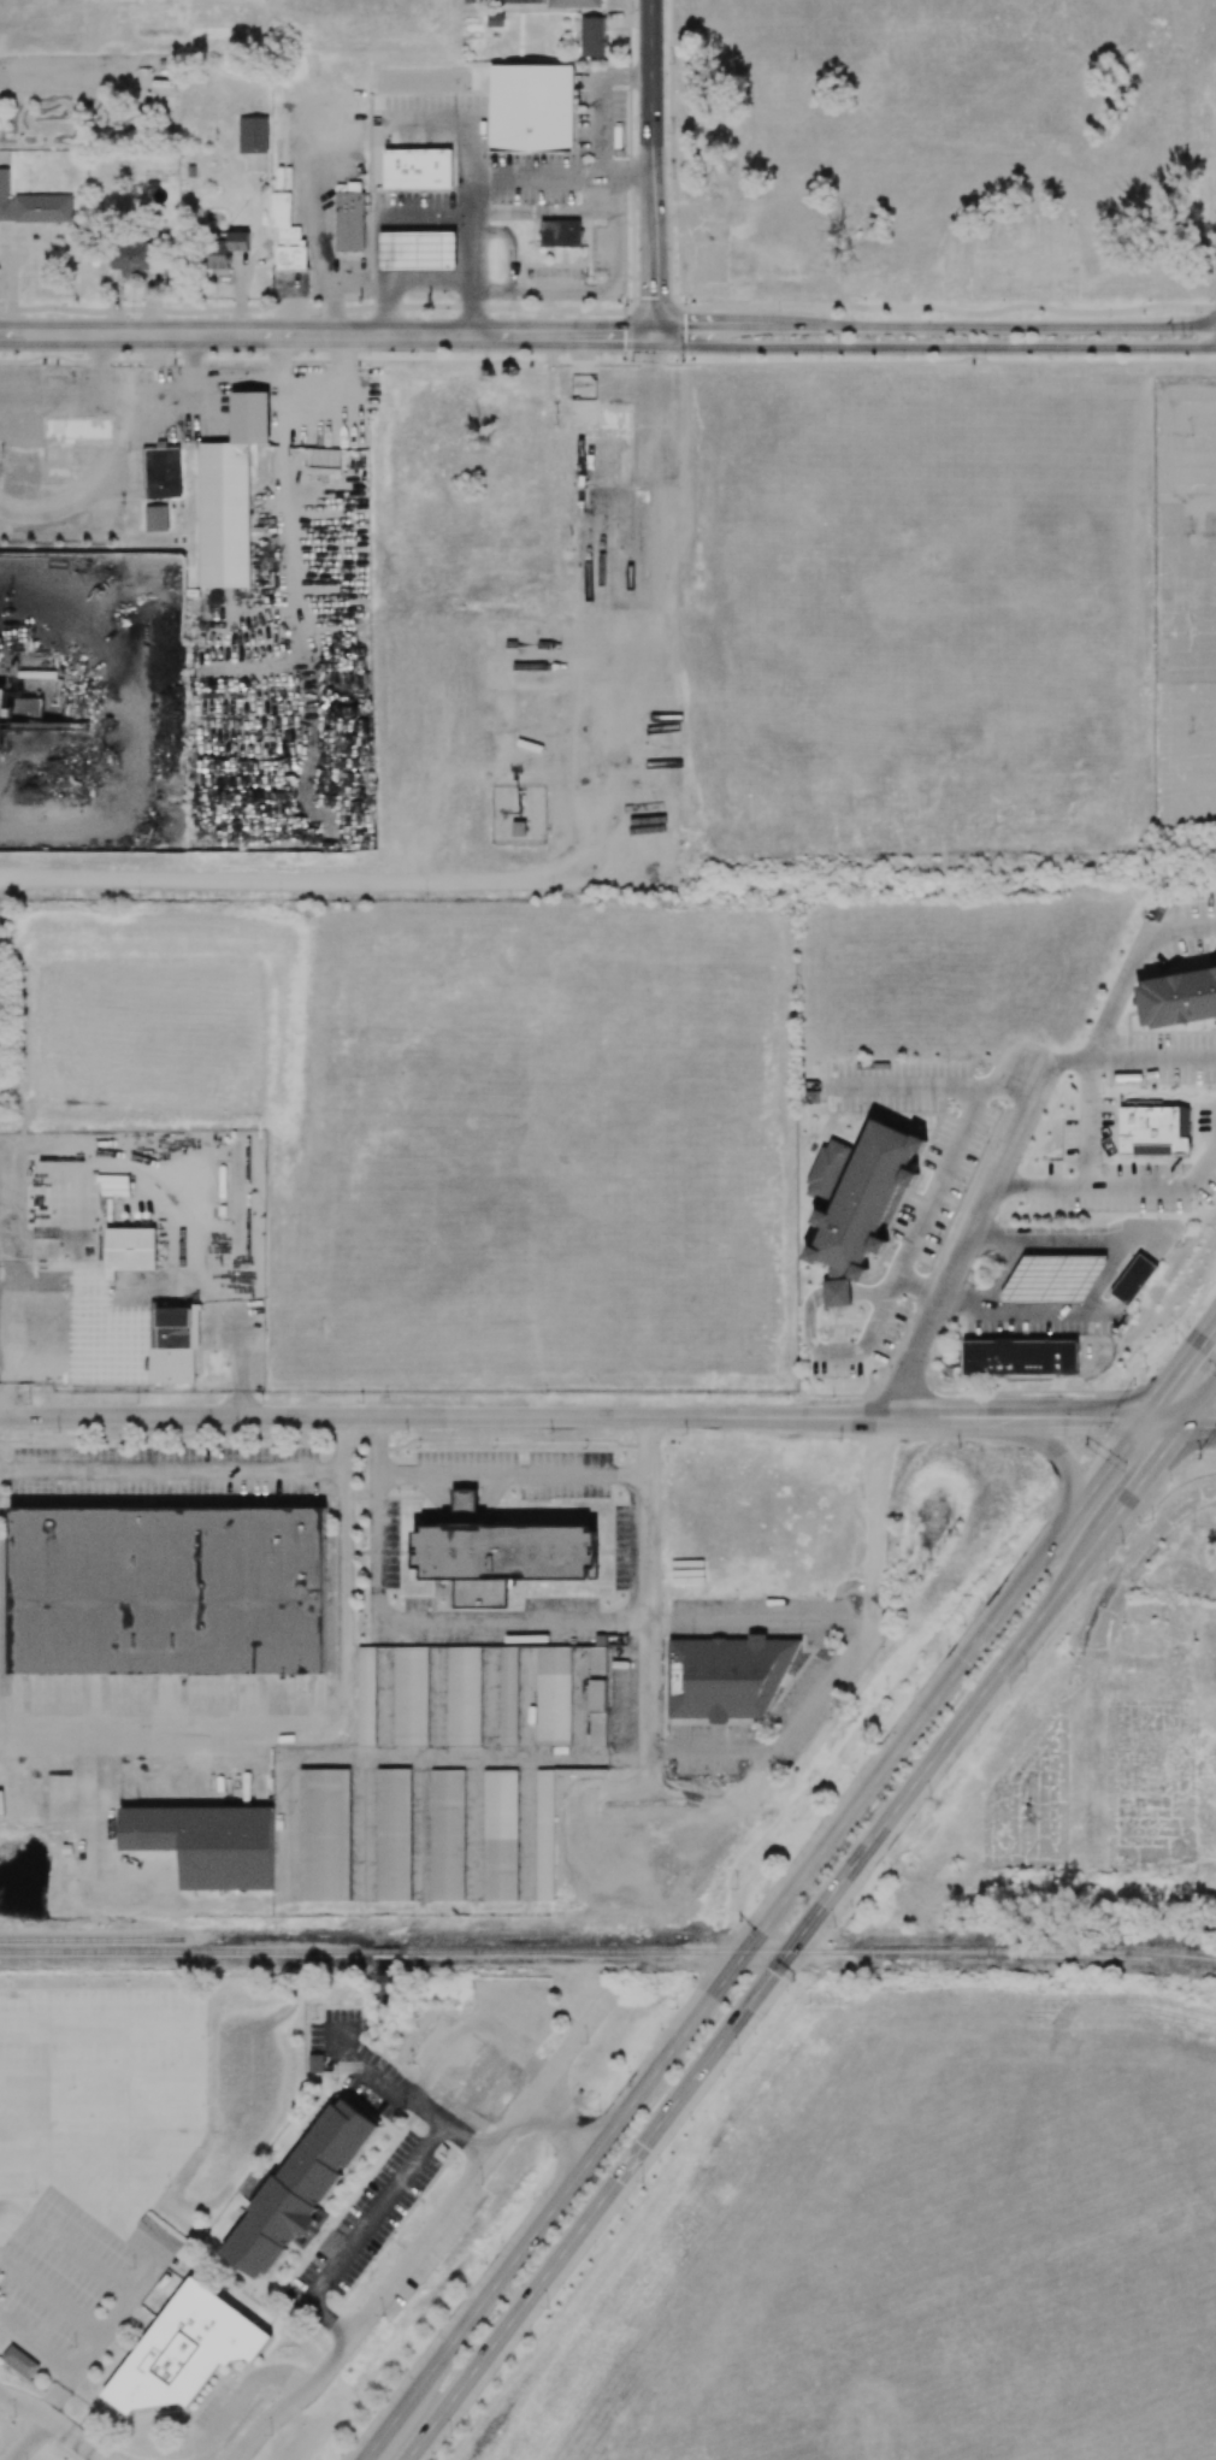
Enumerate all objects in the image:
building: (573, 4)
building: (496, 19)
building: (592, 36)
road: (649, 71)
building: (532, 107)
building: (253, 135)
building: (417, 167)
road: (561, 178)
road: (473, 185)
road: (650, 190)
road: (320, 206)
building: (42, 208)
road: (425, 216)
building: (348, 220)
road: (608, 228)
building: (580, 232)
building: (560, 234)
building: (287, 235)
building: (417, 250)
building: (224, 253)
building: (132, 255)
road: (407, 285)
road: (651, 285)
road: (340, 289)
street lamp: (362, 299)
street lamp: (689, 302)
street lamp: (625, 303)
street lamp: (778, 309)
road: (610, 311)
street lamp: (1194, 312)
street lamp: (431, 314)
street lamp: (319, 315)
street lamp: (508, 315)
street lamp: (861, 317)
street lamp: (938, 317)
street lamp: (1110, 317)
street lamp: (1019, 318)
road: (966, 326)
road: (236, 334)
road: (563, 335)
traffic signals: (653, 335)
road: (685, 335)
road: (964, 347)
street lamp: (367, 353)
street lamp: (471, 353)
street lamp: (561, 355)
street lamp: (737, 356)
street lamp: (902, 356)
street lamp: (985, 356)
street lamp: (1066, 356)
street lamp: (632, 358)
street lamp: (820, 358)
street lamp: (1146, 358)
street lamp: (684, 360)
building: (53, 389)
road: (653, 471)
road: (1170, 503)
building: (225, 512)
building: (155, 518)
road: (1192, 583)
parking lot: (1185, 604)
building: (19, 703)
building: (518, 827)
road: (276, 881)
building: (1177, 998)
road: (1103, 1026)
road: (904, 1087)
building: (1155, 1131)
road: (1086, 1172)
building: (858, 1192)
building: (84, 1246)
road: (967, 1247)
road: (1047, 1247)
road: (908, 1249)
road: (1002, 1279)
road: (1104, 1279)
building: (1052, 1280)
building: (1134, 1280)
road: (1067, 1310)
building: (172, 1343)
building: (1020, 1357)
road: (1181, 1374)
road: (1199, 1403)
road: (591, 1417)
traffic signals: (1146, 1421)
traffic signals: (1182, 1426)
road: (1199, 1426)
road: (1057, 1451)
road: (172, 1468)
road: (509, 1471)
building: (507, 1551)
building: (167, 1589)
road: (643, 1606)
road: (755, 1618)
road: (412, 1620)
road: (845, 1656)
building: (726, 1675)
building: (424, 1691)
building: (597, 1691)
building: (508, 1695)
building: (553, 1695)
road: (925, 1712)
road: (323, 1727)
road: (957, 1727)
building: (324, 1834)
building: (394, 1834)
building: (447, 1834)
building: (500, 1835)
building: (544, 1835)
building: (206, 1842)
railway: (93, 1939)
railway: (395, 1951)
railway: (1003, 1951)
road: (459, 2033)
road: (573, 2046)
building: (315, 2063)
road: (549, 2114)
road: (566, 2129)
building: (302, 2188)
road: (376, 2206)
road: (533, 2232)
building: (159, 2235)
road: (571, 2243)
road: (153, 2249)
road: (391, 2288)
building: (185, 2350)
building: (19, 2361)
road: (54, 2420)
road: (29, 2438)
road: (104, 2459)
road: (107, 2459)

